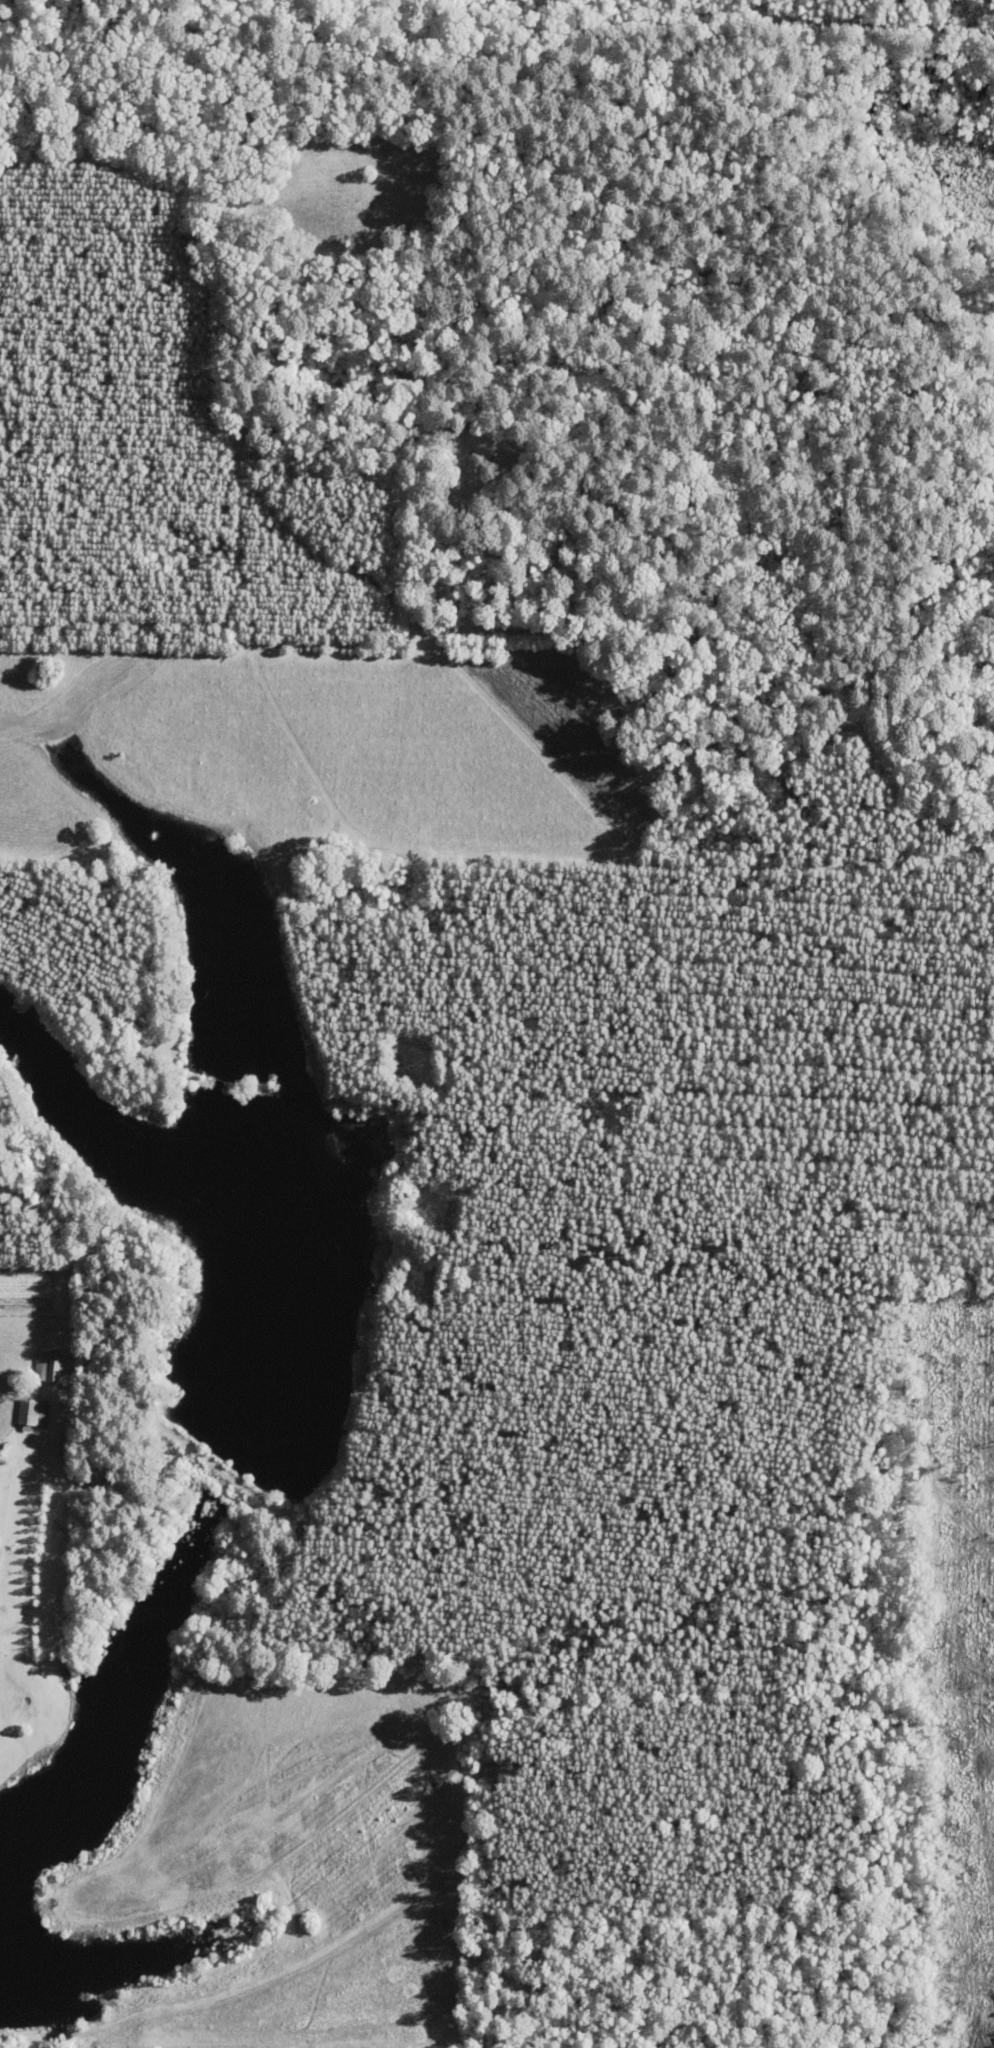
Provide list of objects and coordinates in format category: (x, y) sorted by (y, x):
building: (52, 1367)
building: (34, 1412)
building: (71, 1447)
road: (43, 1700)

